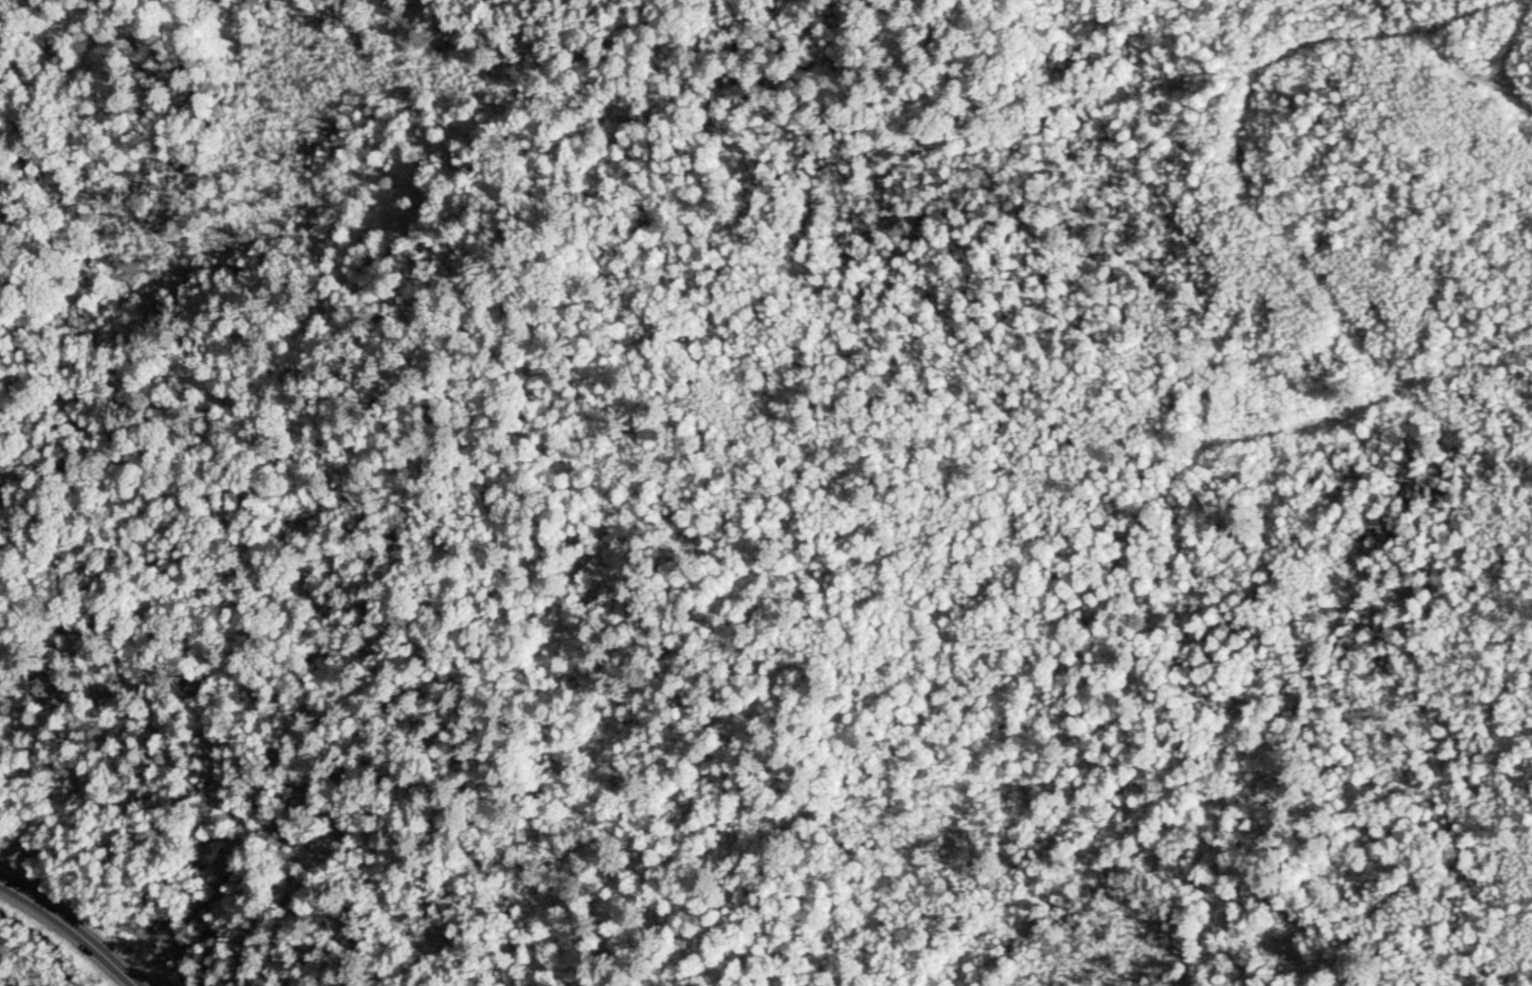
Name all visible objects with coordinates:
road: (70, 932)

